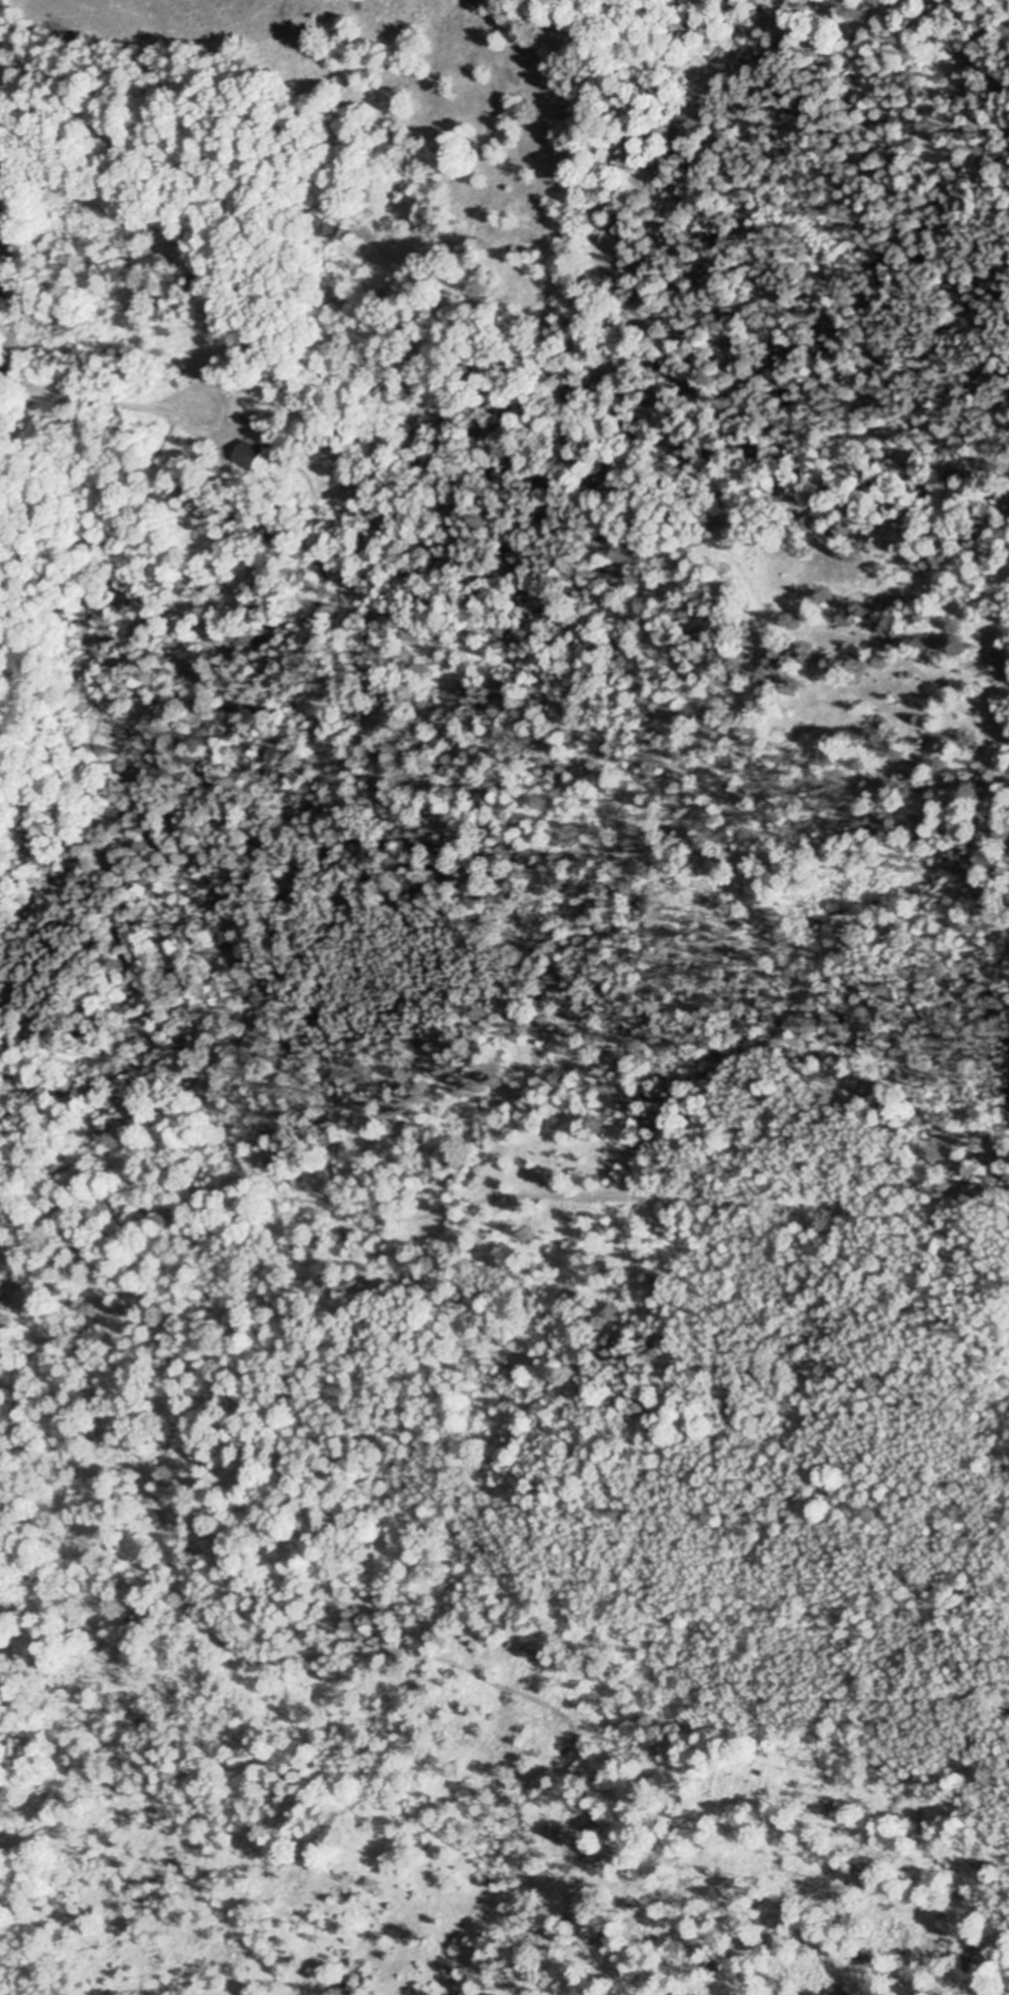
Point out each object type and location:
road: (93, 401)

